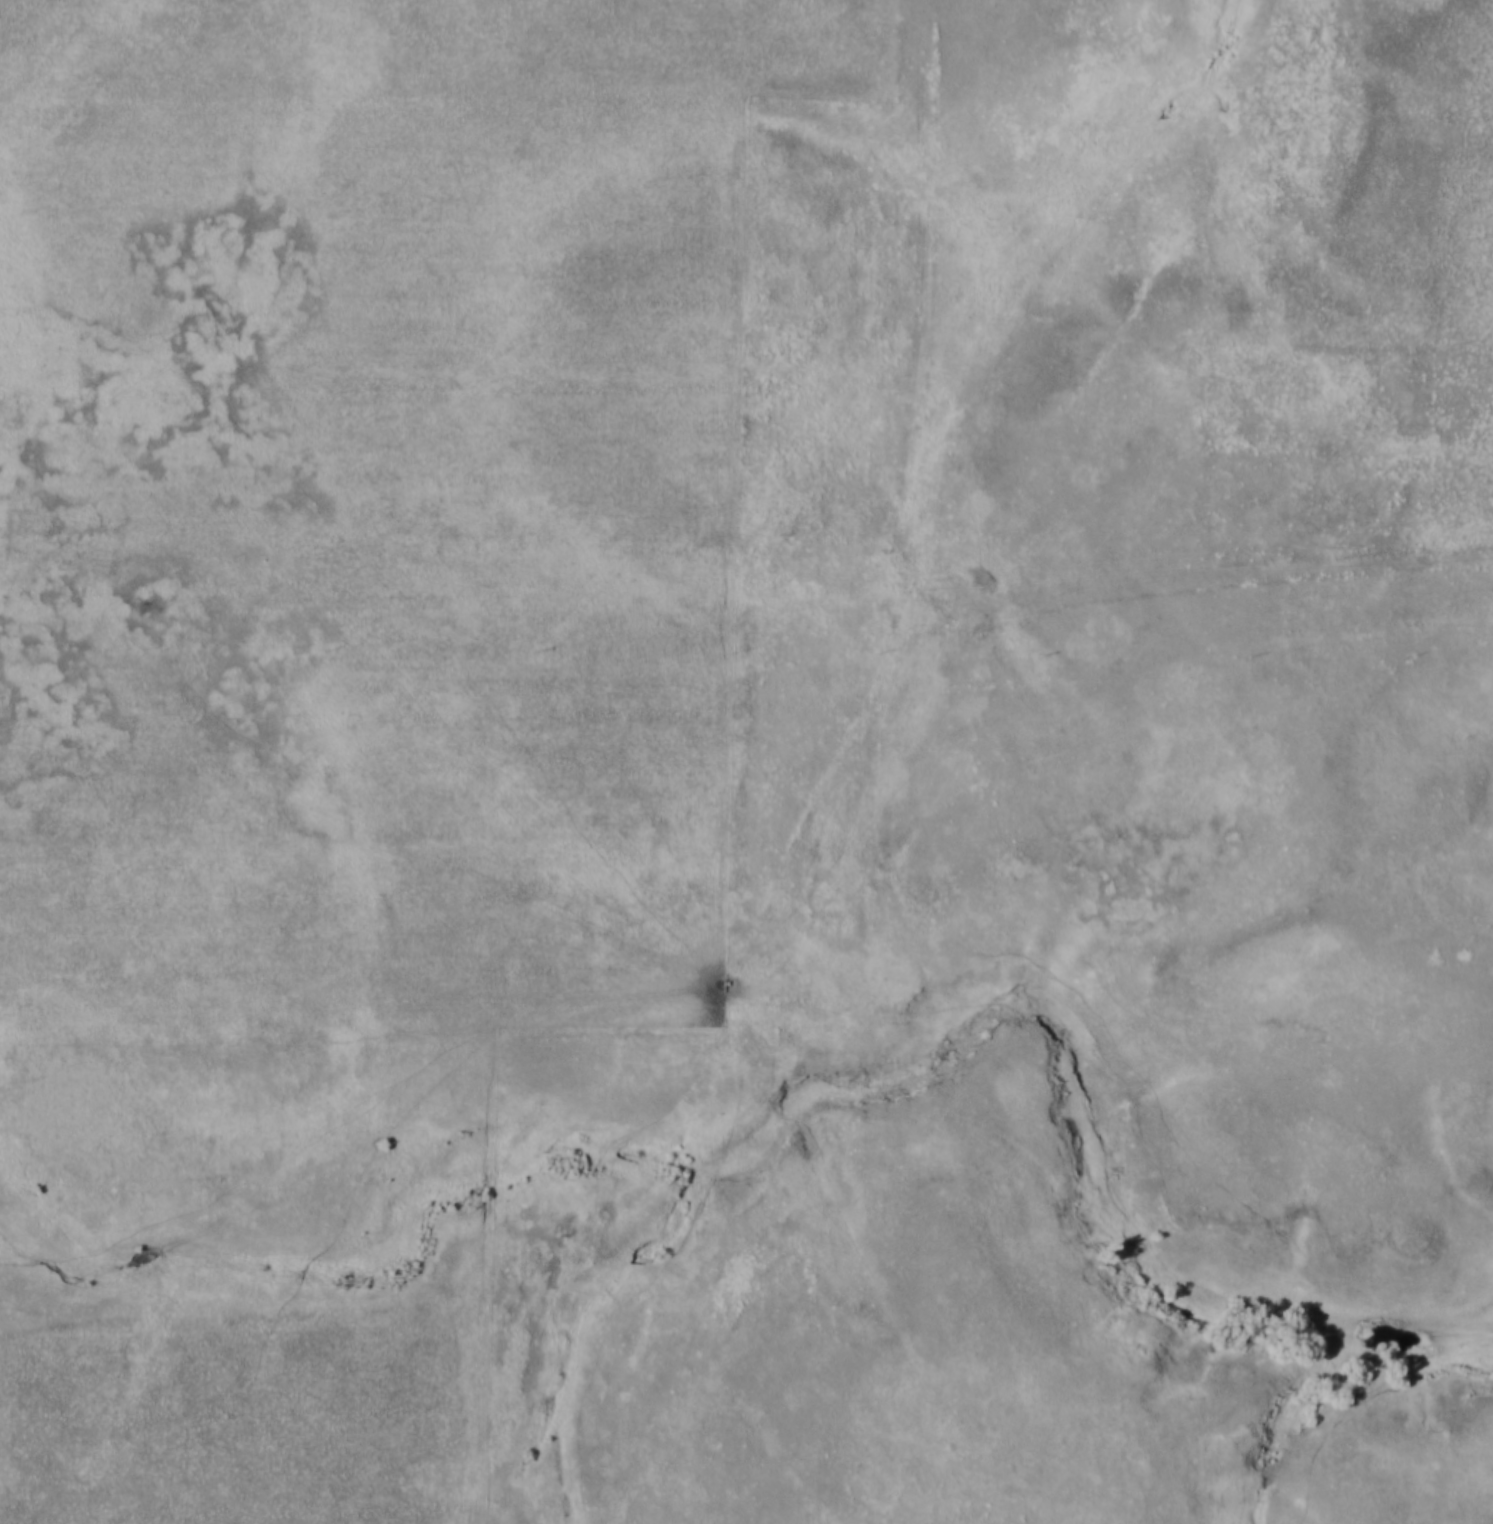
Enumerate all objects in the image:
road: (880, 602)

